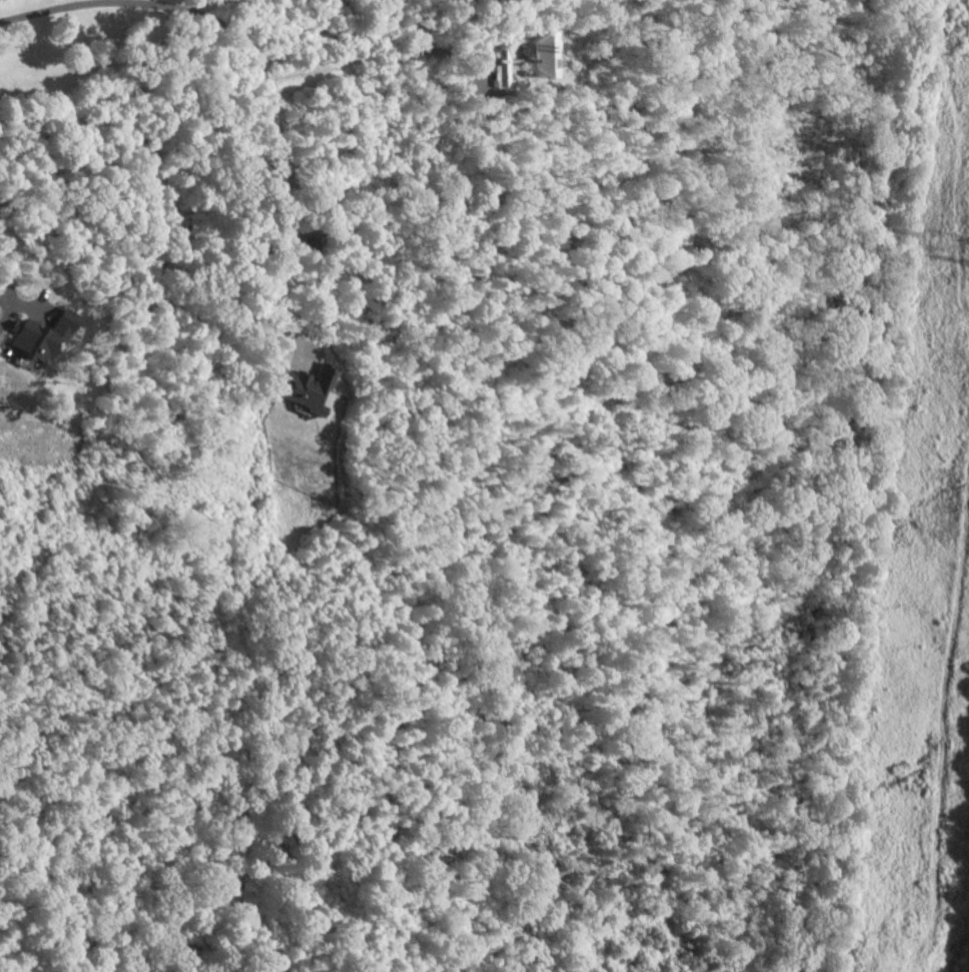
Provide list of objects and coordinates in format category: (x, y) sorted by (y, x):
road: (161, 3)
road: (54, 9)
road: (421, 39)
building: (529, 55)
building: (495, 70)
road: (273, 154)
power tower: (944, 243)
road: (6, 270)
building: (44, 336)
building: (297, 389)

